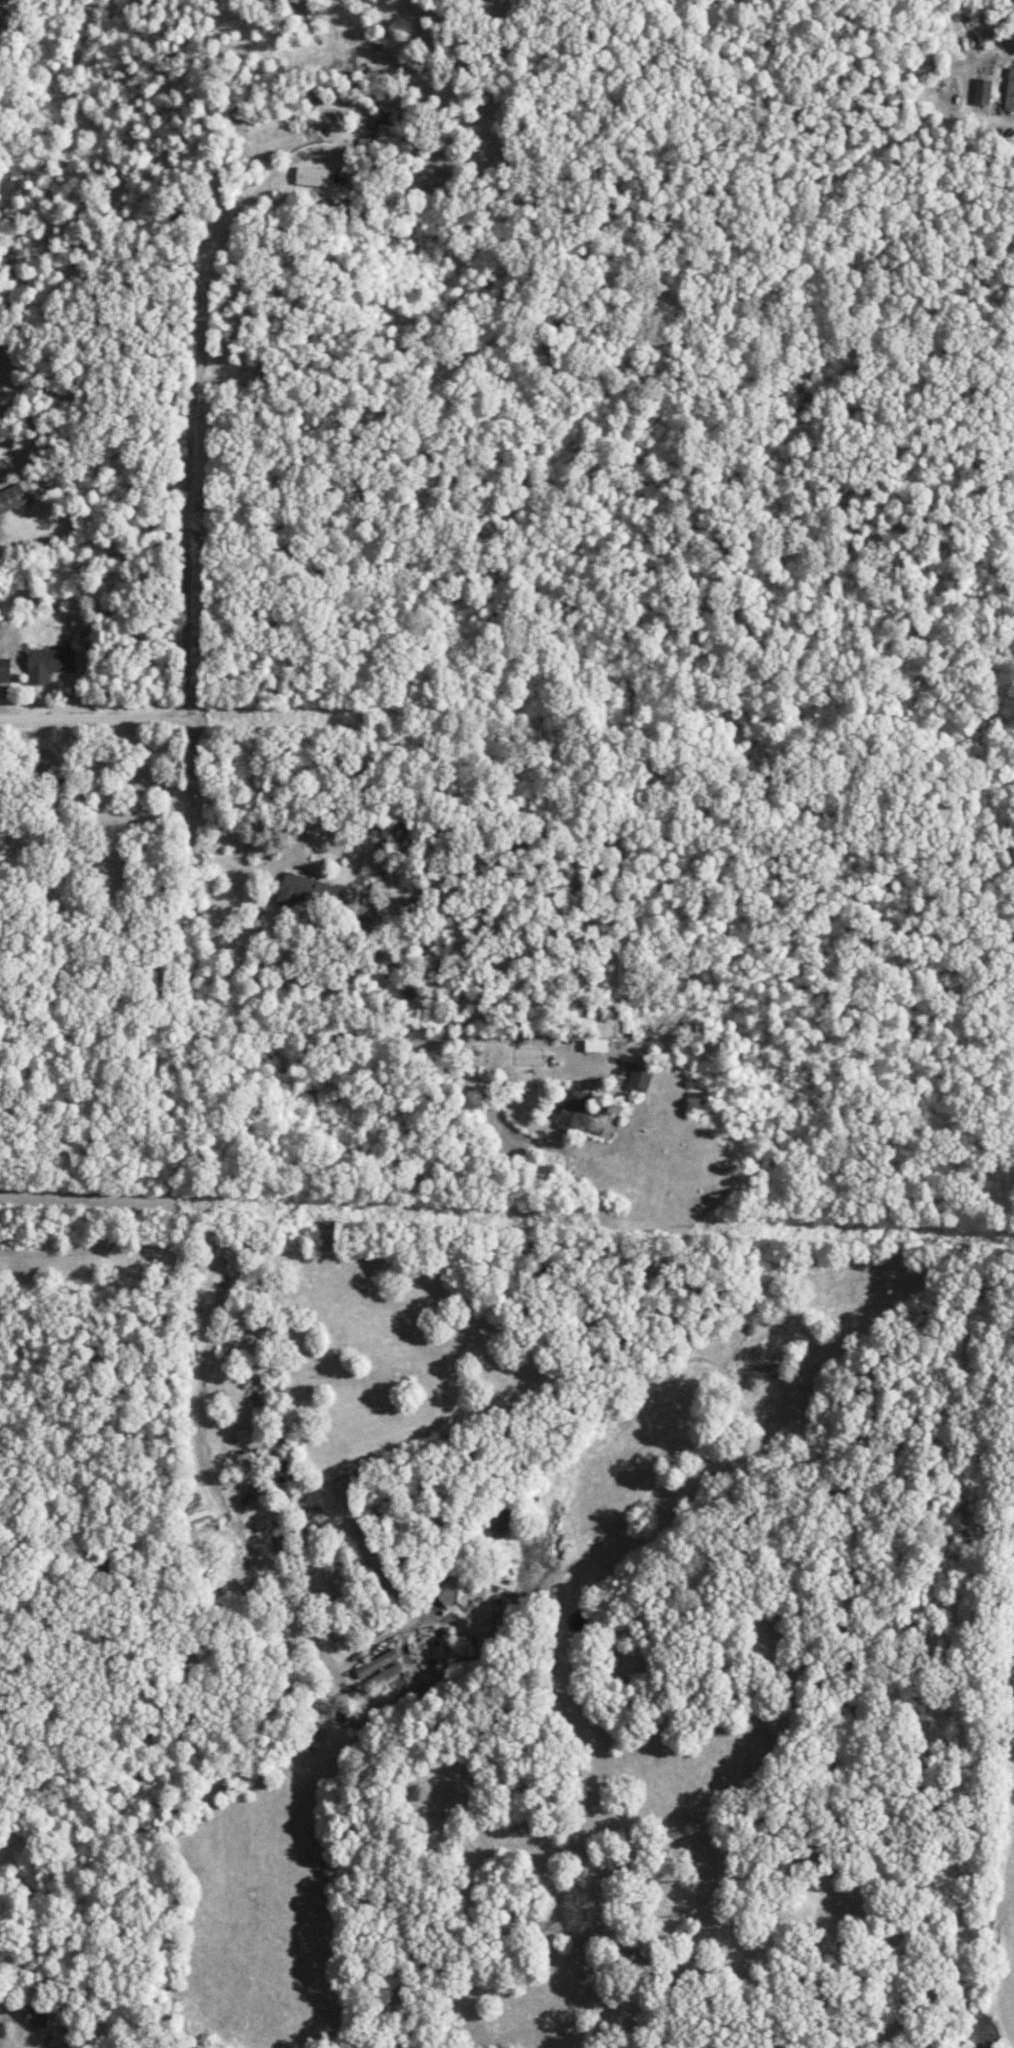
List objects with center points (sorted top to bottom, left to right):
building: (981, 91)
building: (1009, 91)
building: (388, 136)
building: (311, 177)
road: (188, 402)
building: (11, 498)
building: (47, 664)
road: (93, 719)
road: (193, 777)
road: (294, 845)
building: (308, 892)
building: (626, 1026)
road: (268, 1033)
building: (595, 1045)
building: (638, 1078)
building: (573, 1111)
building: (499, 1521)
building: (444, 1591)
building: (375, 1663)
building: (384, 1671)
building: (37, 2014)
road: (51, 2035)

